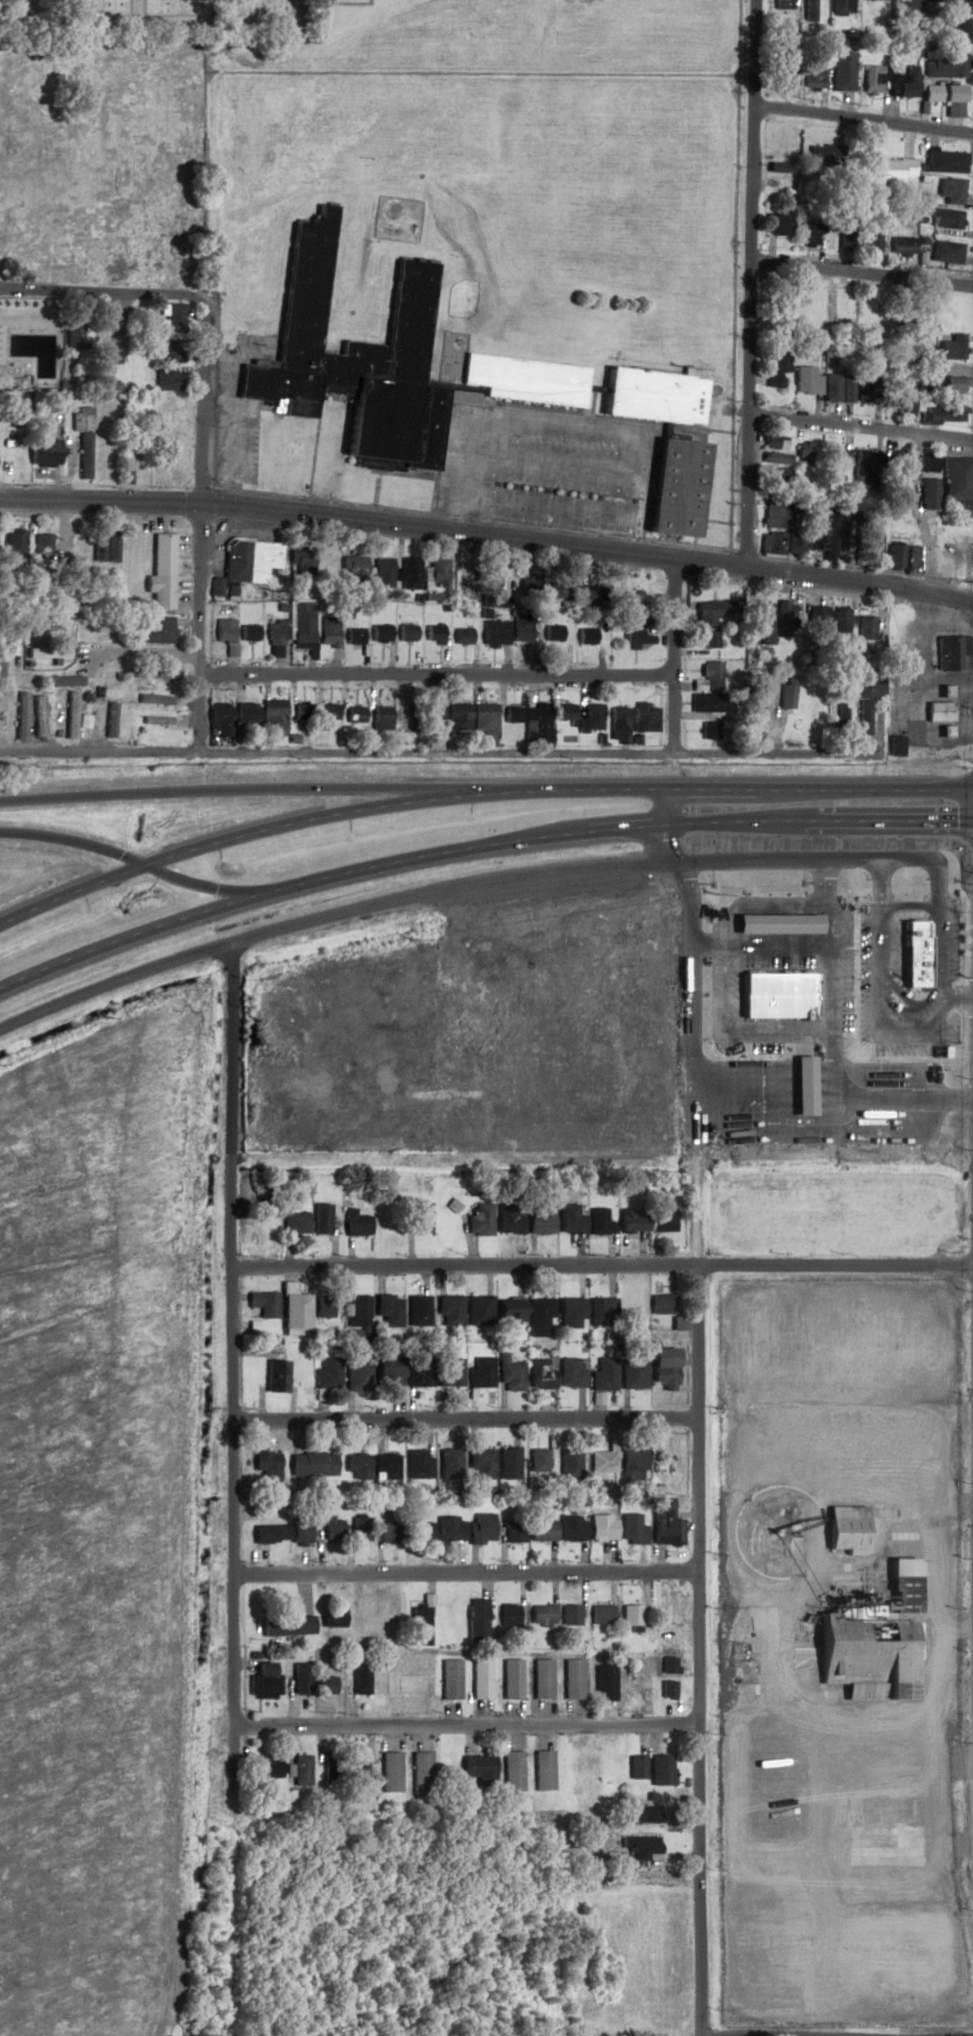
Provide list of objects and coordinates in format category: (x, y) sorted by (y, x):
building: (941, 0)
building: (962, 6)
building: (840, 7)
road: (135, 10)
building: (807, 10)
building: (904, 12)
road: (131, 19)
park: (161, 19)
building: (954, 33)
building: (944, 63)
building: (840, 71)
building: (787, 74)
building: (812, 75)
building: (870, 78)
building: (902, 83)
building: (942, 95)
road: (863, 121)
building: (825, 160)
building: (944, 162)
park: (102, 168)
building: (780, 168)
building: (884, 168)
building: (788, 181)
building: (950, 191)
building: (946, 219)
building: (781, 221)
building: (846, 235)
building: (871, 240)
building: (902, 246)
building: (946, 252)
road: (861, 273)
road: (748, 283)
road: (103, 292)
building: (779, 299)
building: (879, 301)
building: (830, 310)
building: (171, 317)
building: (73, 332)
building: (952, 348)
building: (925, 350)
building: (173, 351)
building: (106, 354)
building: (382, 364)
road: (227, 367)
building: (778, 368)
building: (924, 379)
building: (169, 380)
building: (806, 381)
building: (954, 384)
building: (831, 387)
building: (845, 387)
building: (865, 387)
road: (594, 389)
building: (650, 396)
building: (901, 397)
road: (529, 408)
parking lot: (240, 410)
building: (945, 413)
building: (81, 419)
road: (552, 421)
road: (859, 426)
road: (237, 436)
building: (775, 443)
road: (315, 446)
building: (44, 452)
building: (807, 454)
building: (101, 455)
building: (84, 456)
road: (548, 458)
building: (769, 458)
building: (836, 460)
building: (896, 461)
building: (927, 464)
building: (125, 467)
parking lot: (544, 469)
building: (864, 470)
road: (545, 473)
road: (406, 475)
building: (773, 479)
building: (957, 479)
road: (376, 488)
building: (675, 488)
building: (898, 491)
building: (929, 494)
road: (321, 501)
road: (542, 505)
building: (775, 512)
building: (905, 519)
road: (713, 521)
building: (824, 532)
road: (580, 534)
road: (487, 535)
building: (797, 542)
building: (868, 542)
building: (773, 543)
road: (200, 545)
building: (14, 547)
building: (85, 547)
building: (99, 547)
building: (113, 547)
building: (163, 555)
building: (895, 557)
building: (912, 558)
building: (250, 563)
building: (302, 564)
building: (345, 565)
building: (381, 572)
building: (410, 574)
building: (438, 574)
building: (467, 577)
building: (528, 583)
building: (217, 588)
building: (557, 589)
building: (587, 595)
building: (633, 599)
building: (712, 612)
building: (763, 619)
building: (785, 619)
building: (303, 622)
building: (817, 622)
building: (840, 622)
building: (866, 628)
building: (522, 629)
building: (156, 630)
building: (225, 630)
building: (275, 631)
building: (329, 632)
building: (249, 633)
building: (381, 633)
building: (407, 633)
building: (462, 633)
building: (495, 633)
building: (553, 633)
building: (434, 634)
building: (636, 635)
building: (355, 636)
building: (586, 636)
building: (709, 639)
building: (49, 653)
building: (952, 653)
road: (132, 655)
building: (789, 655)
road: (666, 657)
building: (1, 667)
building: (158, 673)
building: (105, 676)
road: (432, 676)
building: (709, 677)
building: (62, 681)
building: (761, 686)
building: (870, 687)
building: (945, 691)
building: (786, 693)
building: (155, 698)
building: (705, 706)
building: (458, 709)
building: (302, 710)
building: (326, 711)
building: (434, 711)
building: (565, 711)
building: (938, 711)
gas station: (938, 711)
building: (961, 711)
building: (513, 713)
building: (77, 714)
building: (247, 714)
building: (355, 714)
building: (22, 715)
building: (40, 715)
building: (125, 715)
building: (2, 716)
building: (221, 716)
building: (274, 716)
building: (590, 716)
building: (382, 717)
building: (645, 717)
building: (863, 717)
building: (408, 718)
building: (111, 719)
building: (485, 719)
building: (158, 720)
building: (840, 720)
building: (537, 723)
building: (619, 724)
building: (707, 729)
building: (946, 731)
building: (896, 745)
road: (406, 750)
road: (476, 788)
road: (230, 790)
road: (476, 846)
road: (139, 865)
road: (889, 878)
road: (458, 889)
road: (936, 928)
building: (630, 942)
road: (891, 947)
building: (916, 951)
road: (691, 1048)
road: (579, 1063)
building: (739, 1096)
building: (481, 1119)
building: (869, 1132)
building: (420, 1216)
building: (321, 1217)
building: (479, 1218)
building: (509, 1218)
building: (540, 1219)
building: (569, 1219)
building: (599, 1221)
building: (631, 1221)
building: (663, 1221)
building: (295, 1222)
building: (356, 1224)
road: (599, 1269)
building: (263, 1303)
building: (662, 1303)
building: (322, 1306)
building: (449, 1309)
building: (509, 1309)
building: (359, 1310)
building: (388, 1310)
building: (417, 1310)
building: (478, 1310)
building: (601, 1311)
building: (570, 1312)
building: (539, 1317)
building: (678, 1322)
road: (225, 1336)
building: (663, 1367)
building: (634, 1370)
building: (387, 1371)
building: (419, 1371)
building: (449, 1372)
building: (480, 1372)
building: (510, 1372)
building: (327, 1373)
building: (541, 1373)
building: (570, 1373)
building: (603, 1374)
building: (276, 1375)
building: (356, 1376)
road: (850, 1408)
road: (459, 1419)
building: (632, 1458)
building: (538, 1461)
building: (601, 1461)
building: (449, 1463)
building: (481, 1463)
building: (508, 1463)
building: (569, 1463)
building: (266, 1464)
building: (312, 1464)
building: (418, 1464)
building: (357, 1465)
building: (387, 1467)
building: (665, 1522)
building: (602, 1527)
building: (332, 1528)
building: (360, 1528)
building: (449, 1528)
building: (481, 1528)
building: (541, 1528)
building: (571, 1528)
building: (632, 1529)
building: (846, 1529)
building: (391, 1531)
building: (420, 1531)
building: (513, 1531)
building: (281, 1533)
road: (458, 1574)
building: (600, 1614)
building: (508, 1615)
building: (541, 1615)
building: (570, 1615)
building: (630, 1615)
building: (332, 1617)
building: (476, 1623)
building: (286, 1625)
building: (419, 1626)
building: (871, 1639)
road: (693, 1653)
building: (606, 1676)
building: (300, 1678)
building: (511, 1678)
building: (542, 1678)
building: (572, 1678)
building: (360, 1679)
building: (450, 1679)
building: (480, 1679)
building: (264, 1682)
building: (323, 1685)
road: (457, 1724)
building: (636, 1767)
building: (479, 1768)
building: (264, 1769)
building: (660, 1769)
building: (301, 1770)
building: (512, 1770)
building: (543, 1770)
building: (357, 1771)
building: (391, 1772)
building: (421, 1772)
building: (644, 1814)
building: (881, 1820)
building: (642, 1847)

